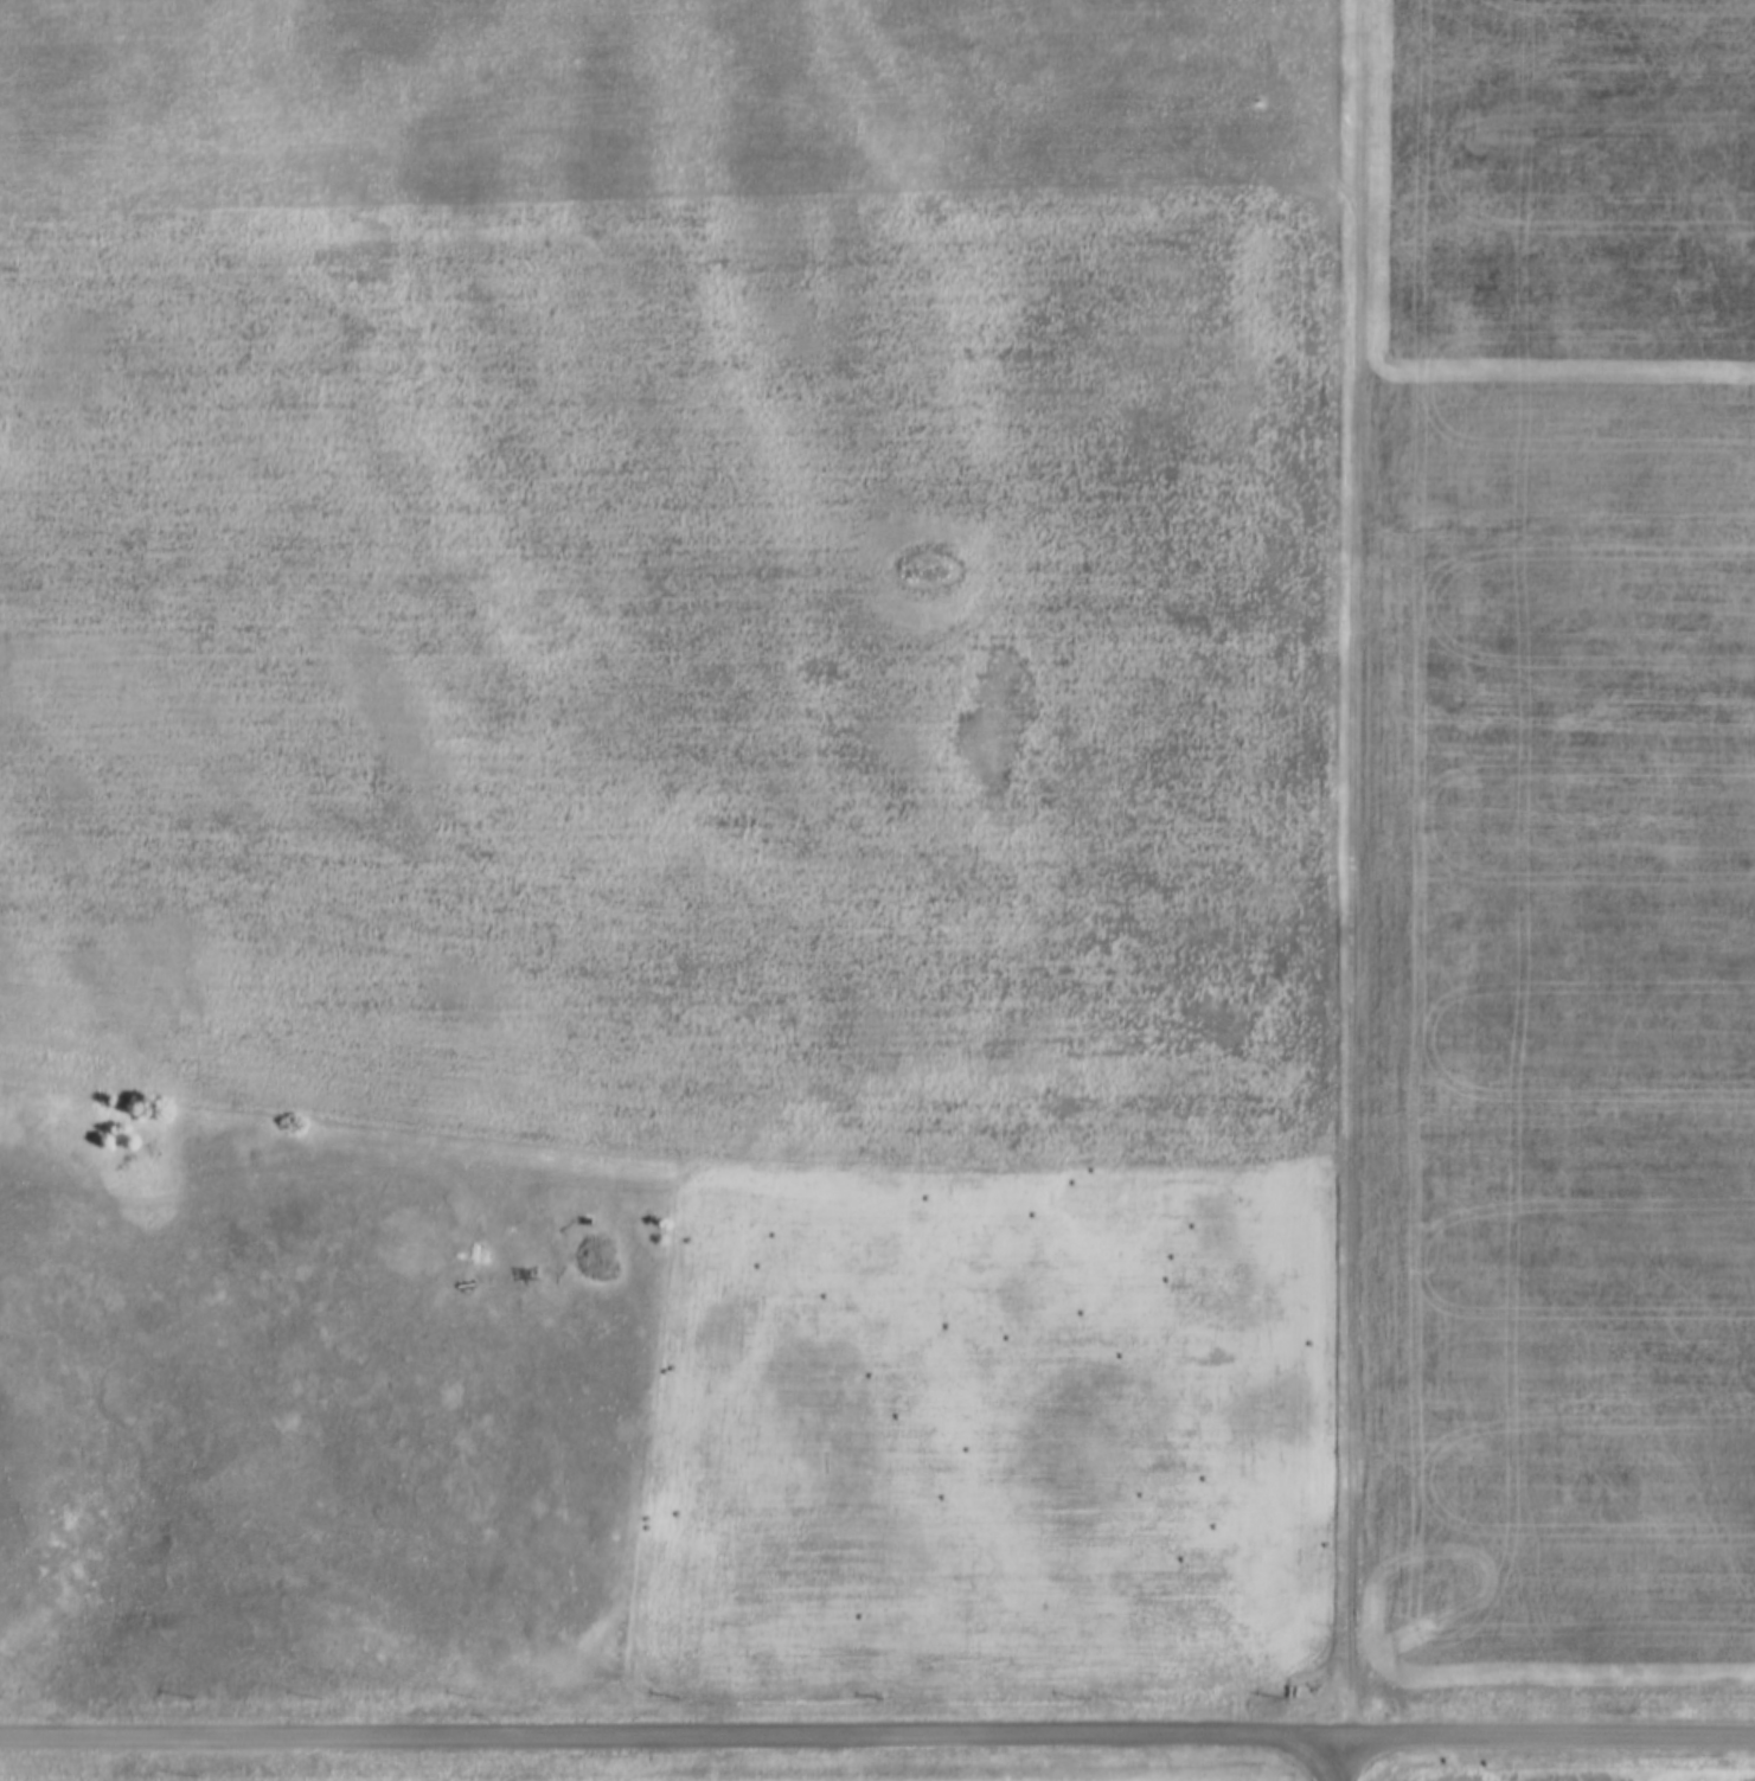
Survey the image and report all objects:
road: (877, 1744)
road: (1336, 1762)

